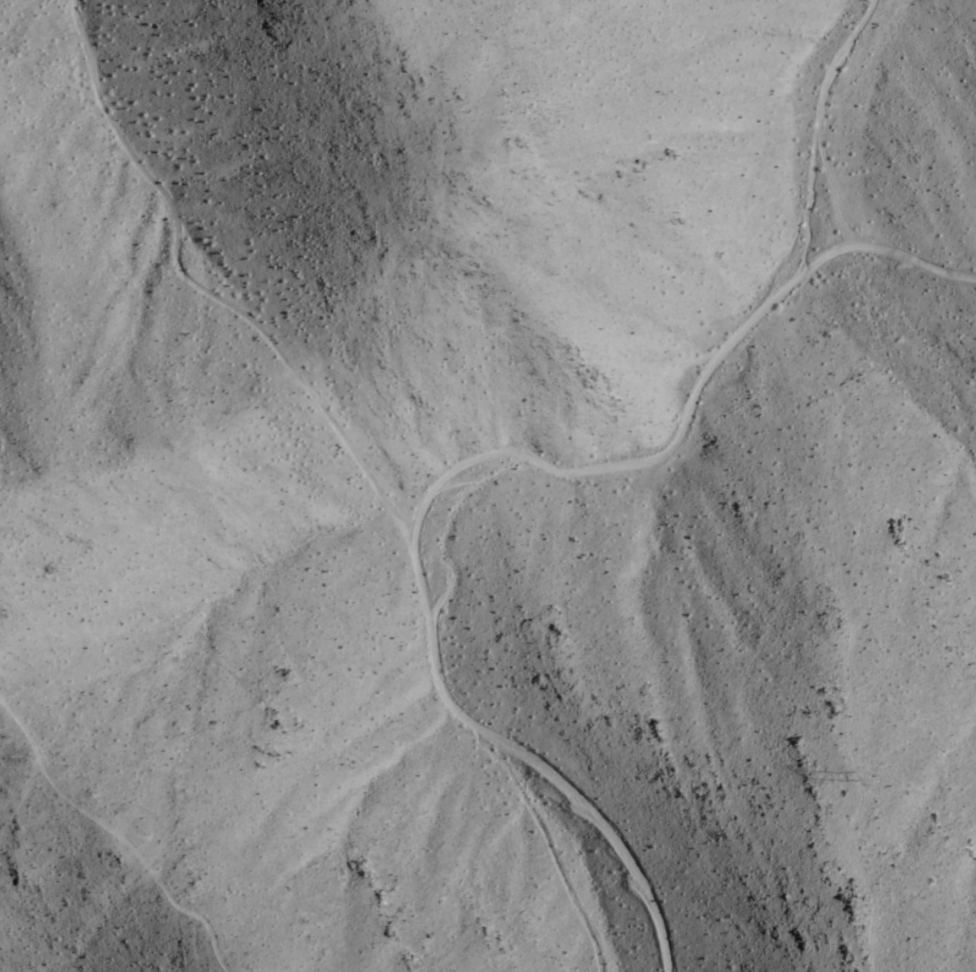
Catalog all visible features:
road: (694, 417)
road: (539, 762)
power tower: (847, 776)

